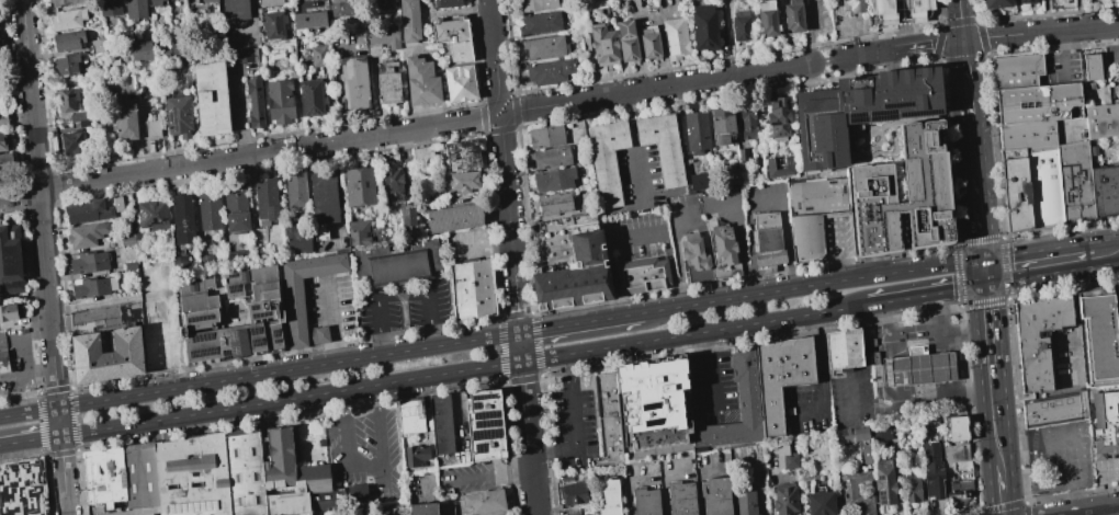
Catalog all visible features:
building: (304, 0)
building: (334, 0)
building: (154, 1)
building: (197, 1)
building: (268, 1)
building: (1025, 1)
building: (63, 2)
building: (594, 2)
building: (445, 3)
building: (995, 3)
building: (384, 4)
building: (535, 4)
building: (851, 5)
building: (109, 7)
building: (135, 9)
building: (235, 10)
building: (903, 10)
road: (904, 11)
building: (792, 16)
building: (767, 18)
building: (67, 19)
building: (308, 20)
road: (960, 20)
building: (409, 21)
building: (539, 22)
building: (273, 24)
building: (741, 26)
building: (703, 28)
road: (811, 32)
road: (659, 34)
road: (906, 35)
building: (453, 36)
building: (674, 37)
building: (381, 38)
road: (982, 38)
building: (67, 41)
building: (625, 41)
traffic signals: (963, 41)
building: (648, 43)
building: (97, 45)
building: (602, 45)
building: (543, 47)
building: (140, 50)
road: (494, 53)
road: (1062, 53)
building: (246, 55)
building: (318, 56)
road: (828, 60)
road: (883, 61)
building: (66, 64)
power substation: (4, 67)
building: (1097, 67)
building: (547, 71)
building: (1020, 71)
building: (420, 81)
road: (967, 81)
building: (459, 82)
building: (353, 83)
building: (387, 83)
road: (885, 83)
road: (658, 88)
parking lot: (886, 95)
road: (498, 96)
building: (211, 98)
building: (310, 98)
building: (66, 99)
rooftop solar panel: (900, 100)
building: (253, 101)
building: (279, 101)
building: (1041, 104)
rooftop solar panel: (922, 110)
road: (517, 111)
rooftop solar panel: (881, 112)
road: (501, 113)
rooftop solar panel: (857, 114)
building: (178, 115)
building: (78, 116)
building: (2, 118)
building: (779, 118)
building: (123, 121)
building: (1104, 121)
building: (749, 124)
building: (722, 125)
building: (151, 127)
road: (486, 131)
building: (697, 131)
building: (1030, 134)
building: (546, 137)
building: (2, 141)
building: (74, 142)
building: (663, 145)
road: (972, 149)
road: (634, 150)
building: (422, 153)
road: (249, 154)
building: (463, 154)
building: (883, 154)
building: (744, 156)
building: (552, 157)
building: (607, 160)
building: (768, 163)
building: (1, 164)
building: (733, 176)
rooftop solar panel: (1070, 179)
building: (552, 180)
parking lot: (638, 180)
building: (699, 181)
building: (1078, 181)
building: (460, 182)
building: (394, 185)
building: (1047, 185)
building: (360, 188)
building: (1018, 188)
building: (297, 191)
building: (1107, 191)
building: (324, 198)
building: (267, 199)
building: (423, 201)
building: (555, 203)
building: (118, 204)
building: (237, 207)
building: (208, 210)
building: (815, 210)
building: (89, 213)
building: (152, 216)
building: (453, 217)
building: (183, 219)
building: (408, 224)
road: (979, 224)
building: (360, 232)
building: (87, 234)
parking lot: (636, 237)
road: (636, 237)
building: (138, 238)
building: (127, 239)
building: (297, 239)
building: (768, 241)
road: (483, 243)
parking lot: (470, 245)
building: (726, 251)
road: (839, 251)
building: (262, 252)
road: (1106, 252)
building: (236, 256)
road: (43, 257)
building: (10, 259)
building: (210, 259)
building: (698, 260)
building: (570, 261)
building: (90, 262)
road: (1038, 262)
building: (398, 263)
building: (131, 266)
building: (166, 271)
traffic signals: (983, 271)
rooftop solar panel: (231, 275)
building: (643, 275)
road: (813, 286)
building: (94, 287)
rooftop solar panel: (234, 287)
road: (952, 289)
building: (473, 290)
building: (1118, 290)
road: (402, 295)
road: (892, 300)
building: (292, 301)
rooftop solar panel: (252, 305)
parking lot: (331, 305)
parking lot: (406, 307)
building: (9, 311)
rooftop solar panel: (260, 312)
building: (158, 313)
building: (1117, 313)
building: (230, 314)
building: (110, 316)
rooftop solar panel: (199, 316)
road: (518, 316)
road: (1075, 321)
road: (580, 322)
road: (334, 323)
road: (938, 323)
rooftop solar panel: (255, 329)
road: (988, 329)
road: (885, 330)
rooftop solar panel: (274, 331)
rooftop solar panel: (230, 333)
road: (937, 333)
rooftop solar panel: (202, 334)
building: (1040, 337)
rooftop solar panel: (276, 339)
building: (1097, 339)
rooftop solar panel: (256, 340)
rooftop solar panel: (235, 347)
rooftop solar panel: (202, 348)
building: (844, 350)
building: (160, 351)
building: (108, 355)
road: (864, 359)
building: (3, 362)
road: (821, 363)
building: (918, 364)
building: (940, 366)
road: (942, 366)
gas station: (915, 367)
road: (710, 368)
road: (464, 370)
building: (895, 370)
road: (890, 371)
road: (259, 374)
building: (782, 376)
parking lot: (712, 387)
road: (943, 387)
road: (936, 393)
rooftop solar panel: (482, 394)
building: (748, 401)
rooftop solar panel: (649, 403)
rooftop solar panel: (475, 404)
building: (654, 409)
parking lot: (807, 409)
building: (1055, 409)
road: (459, 413)
rooftop solar panel: (484, 413)
road: (807, 413)
building: (411, 415)
building: (609, 416)
rooftop solar panel: (649, 419)
building: (1106, 421)
rooftop solar panel: (485, 422)
road: (573, 422)
building: (441, 424)
road: (378, 426)
building: (485, 426)
road: (996, 426)
building: (958, 427)
parking lot: (574, 428)
building: (880, 431)
rooftop solar panel: (483, 433)
building: (852, 433)
road: (30, 440)
road: (346, 444)
rooftop solar panel: (478, 446)
building: (700, 448)
building: (956, 451)
parking lot: (366, 454)
building: (417, 455)
building: (785, 456)
building: (963, 463)
building: (950, 467)
building: (933, 469)
building: (245, 471)
road: (383, 474)
road: (493, 474)
building: (104, 476)
building: (139, 476)
building: (192, 476)
parking lot: (472, 477)
building: (567, 477)
rooftop solar panel: (880, 478)
building: (297, 480)
building: (885, 484)
building: (914, 485)
road: (1003, 489)
building: (954, 491)
building: (358, 492)
building: (574, 492)
building: (850, 492)
building: (716, 495)
building: (609, 496)
building: (681, 497)
building: (785, 499)
rooftop solar panel: (881, 499)
building: (485, 501)
building: (647, 501)
building: (745, 502)
building: (821, 502)
building: (423, 508)
building: (447, 508)
building: (392, 510)
road: (1089, 510)
building: (573, 511)
building: (148, 514)
building: (584, 514)

